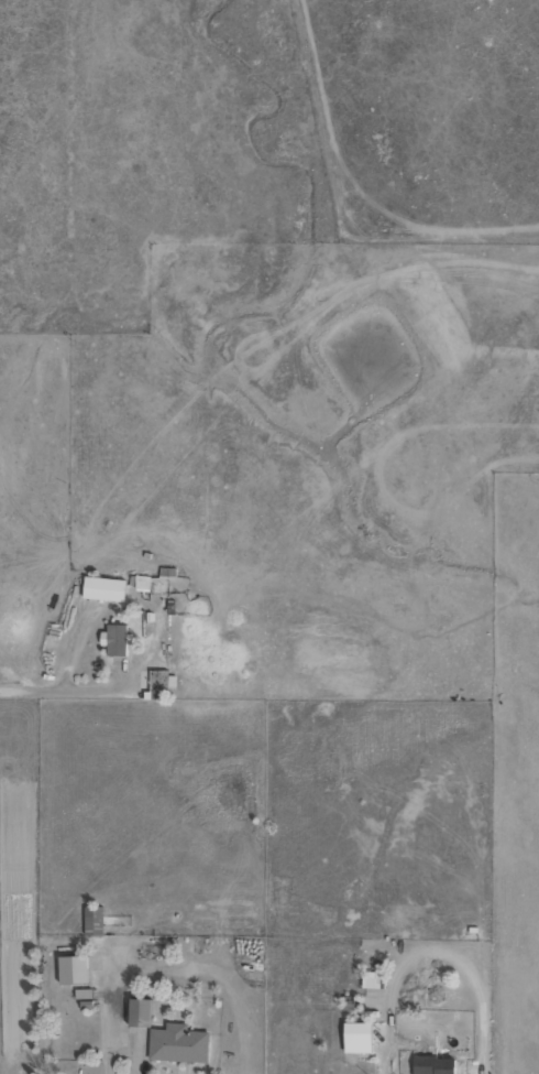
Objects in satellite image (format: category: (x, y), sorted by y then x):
building: (142, 583)
building: (103, 588)
building: (114, 639)
building: (94, 920)
building: (73, 968)
building: (139, 1011)
building: (356, 1037)
building: (178, 1043)
building: (433, 1064)

